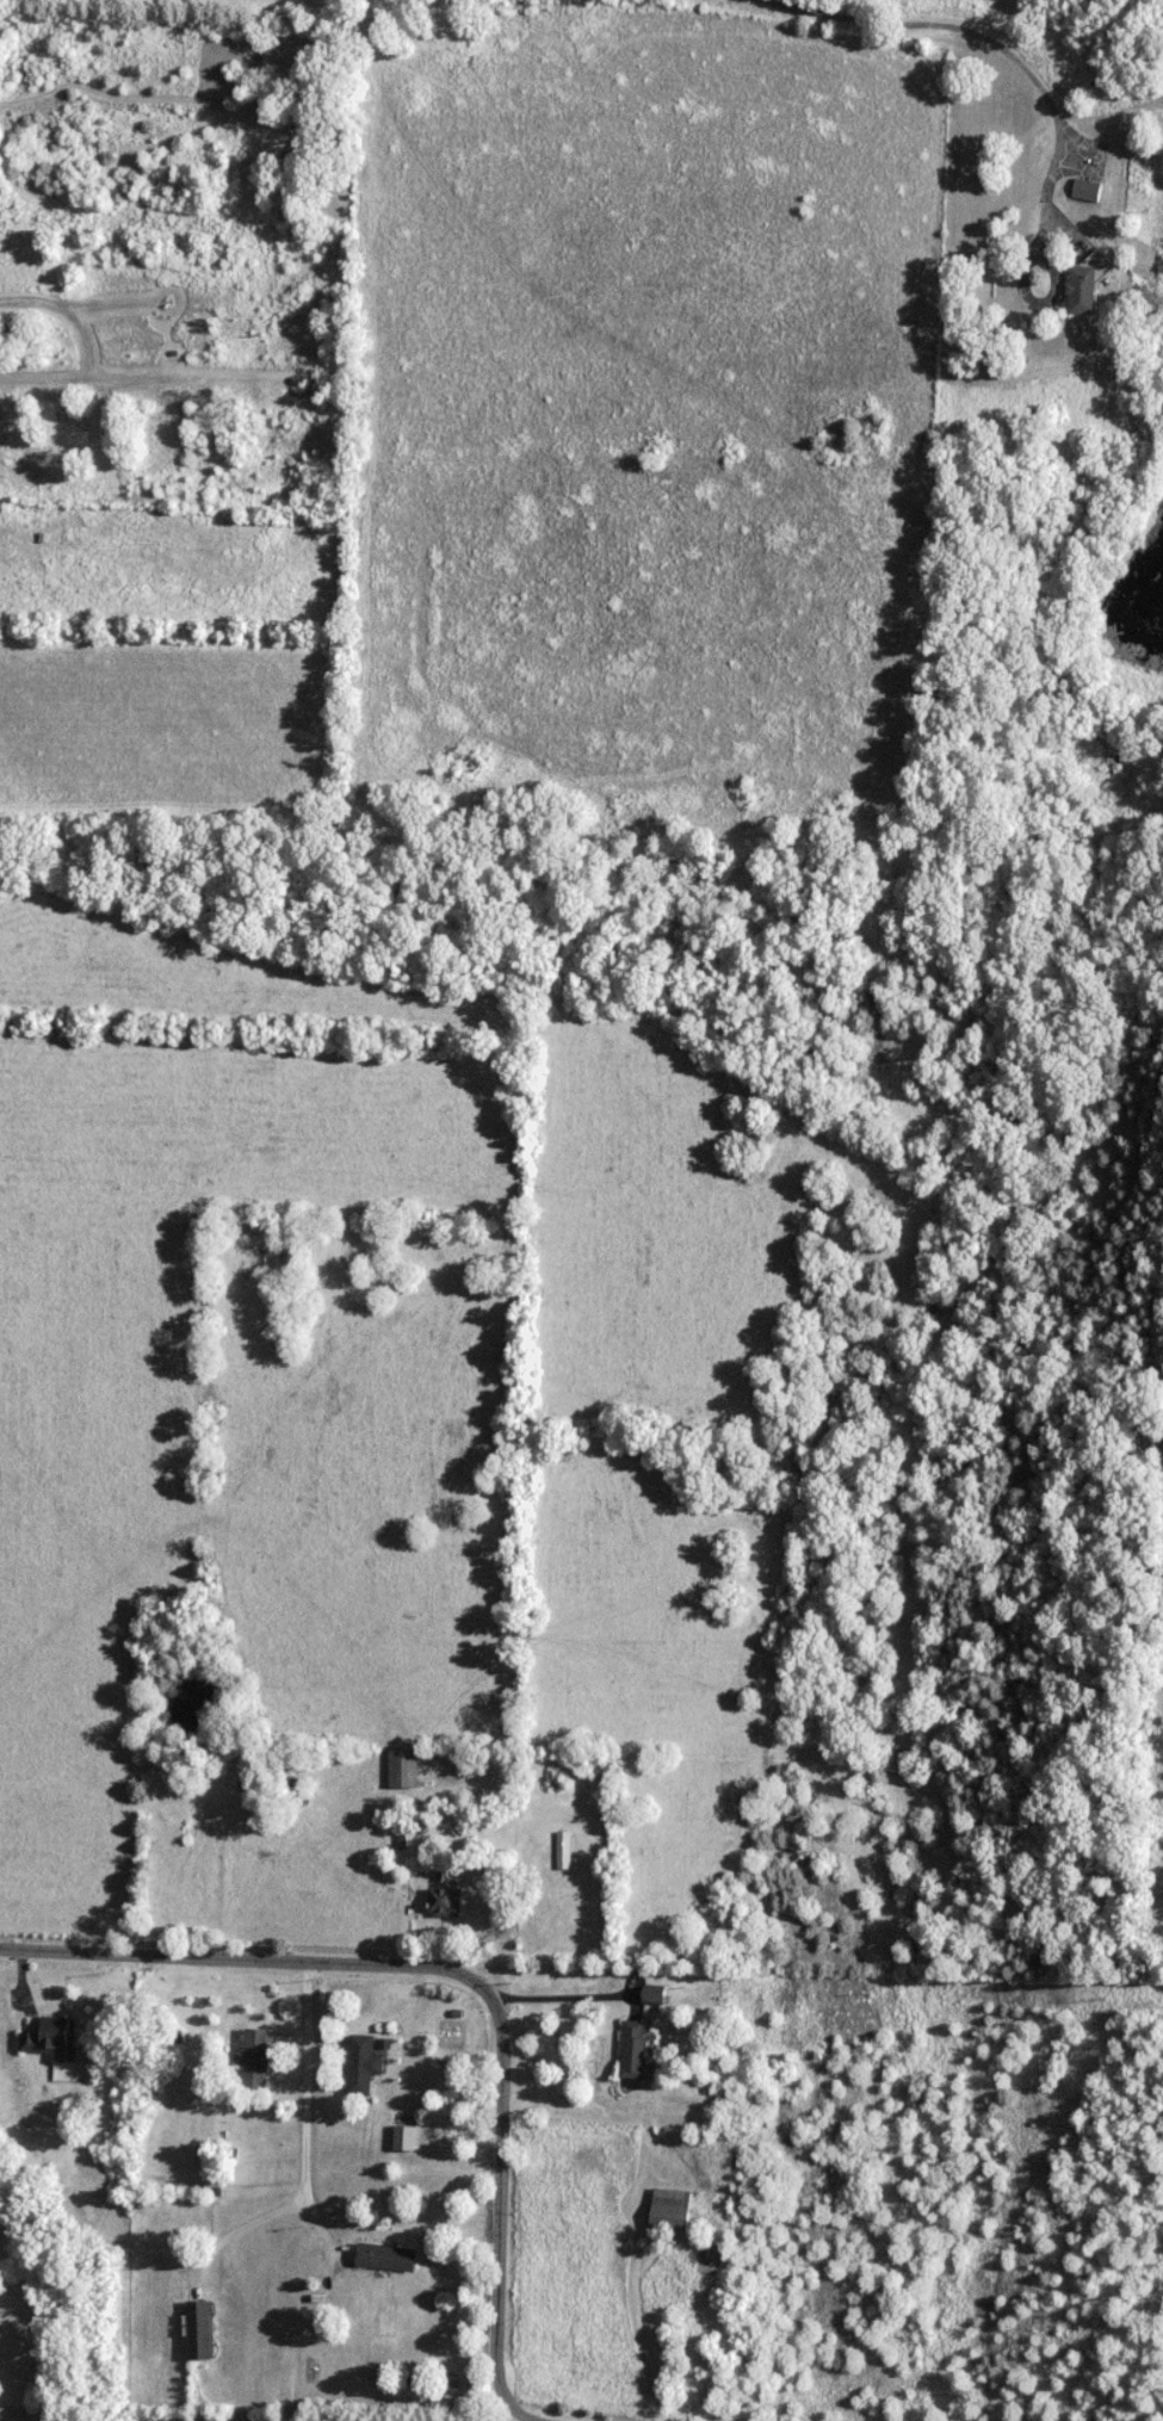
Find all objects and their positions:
road: (996, 48)
building: (297, 150)
building: (1081, 290)
road: (128, 305)
road: (72, 316)
building: (229, 324)
building: (13, 339)
road: (126, 384)
building: (200, 423)
building: (246, 428)
building: (402, 1770)
building: (563, 1852)
building: (444, 1903)
road: (459, 1981)
building: (652, 1996)
road: (583, 2010)
building: (48, 2036)
building: (632, 2050)
building: (256, 2058)
building: (364, 2063)
building: (406, 2137)
road: (308, 2149)
building: (672, 2213)
building: (388, 2256)
building: (199, 2329)

